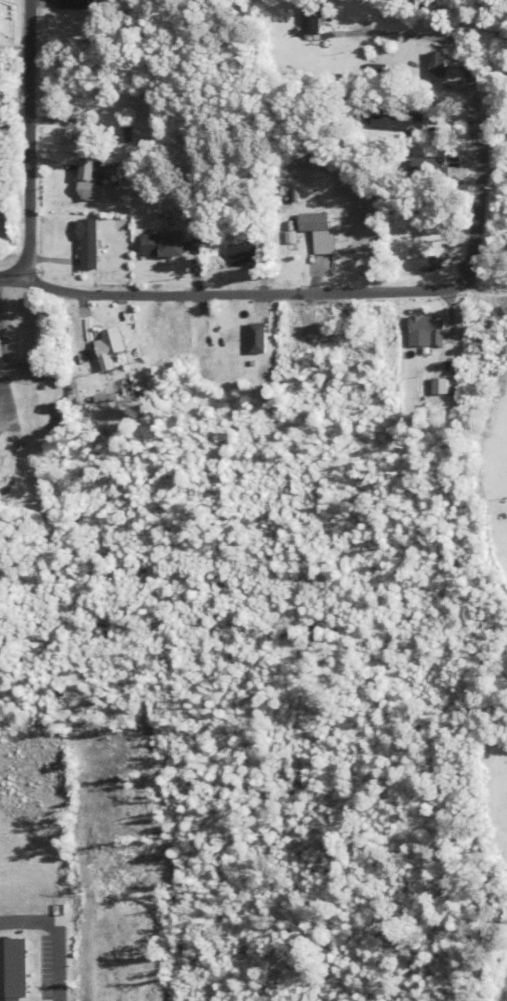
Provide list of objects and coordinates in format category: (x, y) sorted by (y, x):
building: (0, 0)
building: (76, 4)
building: (309, 18)
building: (436, 63)
building: (396, 121)
road: (30, 143)
building: (427, 169)
building: (141, 180)
building: (100, 185)
building: (317, 232)
building: (92, 244)
building: (170, 244)
building: (241, 255)
building: (425, 264)
road: (6, 281)
road: (350, 289)
building: (290, 326)
building: (419, 332)
building: (168, 337)
building: (253, 347)
building: (112, 348)
building: (409, 362)
park: (498, 449)
building: (2, 464)
park: (501, 538)
park: (478, 637)
park: (497, 781)
building: (2, 913)
parking lot: (502, 987)

